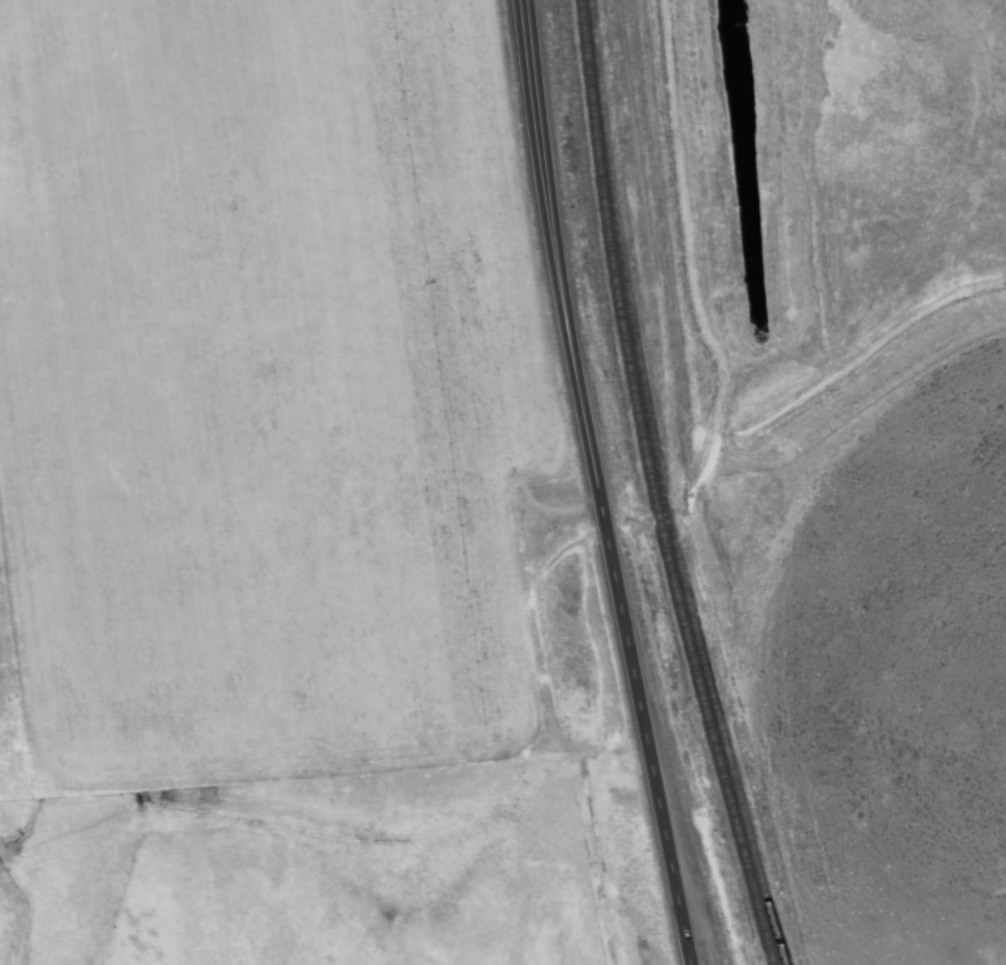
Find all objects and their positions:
wastewater plant: (733, 157)
railway: (621, 255)
railway: (610, 257)
road: (591, 484)
railway: (668, 515)
railway: (657, 518)
railway: (728, 743)
railway: (713, 745)

